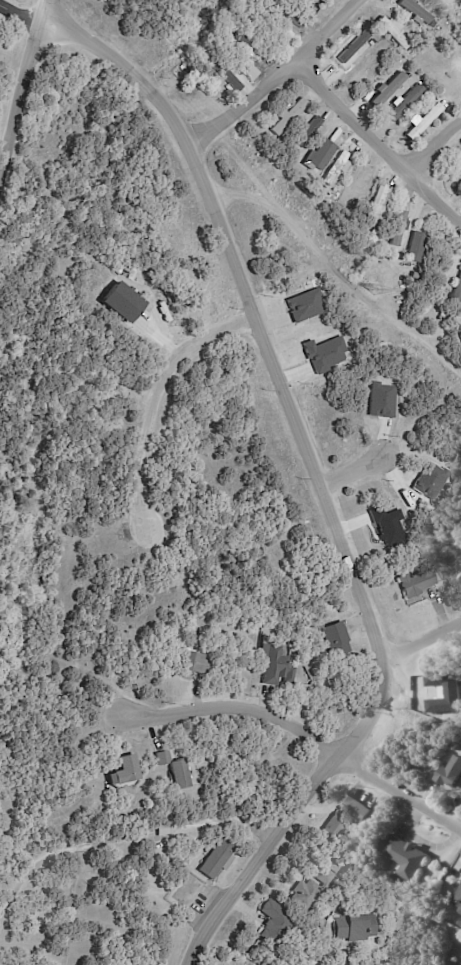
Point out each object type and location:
building: (315, 1)
building: (323, 1)
road: (46, 4)
building: (415, 11)
building: (285, 13)
road: (20, 14)
building: (245, 24)
building: (433, 25)
road: (322, 28)
building: (394, 32)
building: (244, 47)
building: (354, 49)
road: (126, 72)
building: (252, 72)
building: (226, 75)
road: (22, 81)
building: (387, 88)
building: (436, 97)
building: (405, 103)
road: (242, 104)
building: (289, 116)
building: (424, 122)
road: (375, 144)
road: (429, 146)
building: (323, 153)
building: (460, 164)
building: (337, 167)
building: (458, 176)
building: (381, 206)
building: (397, 228)
building: (376, 239)
building: (382, 246)
building: (416, 247)
power tower: (373, 290)
building: (457, 293)
building: (304, 305)
road: (160, 397)
road: (351, 469)
road: (353, 574)
building: (417, 583)
building: (337, 639)
road: (423, 640)
building: (197, 664)
building: (276, 666)
road: (225, 706)
building: (175, 770)
building: (126, 771)
building: (451, 773)
road: (397, 787)
building: (350, 803)
building: (163, 830)
building: (331, 832)
building: (193, 845)
building: (408, 858)
building: (218, 859)
building: (332, 868)
building: (309, 889)
building: (458, 900)
building: (460, 910)
building: (274, 923)
building: (353, 928)
building: (333, 963)

